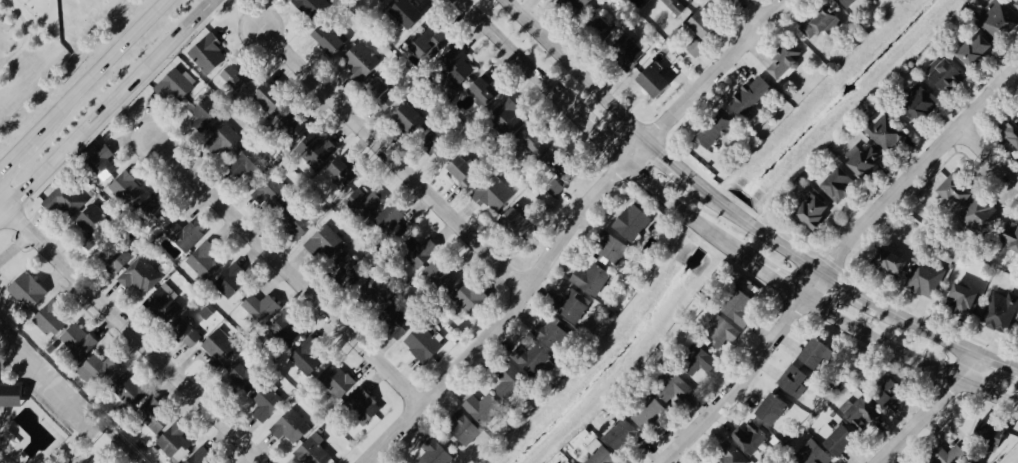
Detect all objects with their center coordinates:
building: (848, 3)
building: (574, 4)
building: (1016, 4)
building: (677, 6)
building: (313, 7)
building: (407, 12)
road: (749, 13)
building: (998, 19)
building: (702, 23)
building: (597, 24)
building: (820, 24)
building: (328, 37)
building: (431, 42)
building: (696, 47)
building: (976, 48)
building: (629, 50)
building: (208, 51)
road: (518, 58)
building: (360, 60)
building: (785, 61)
building: (456, 67)
road: (576, 69)
road: (718, 69)
building: (945, 72)
building: (236, 76)
building: (653, 79)
road: (83, 84)
building: (175, 84)
building: (484, 90)
building: (380, 91)
building: (751, 94)
building: (268, 96)
building: (921, 101)
road: (105, 107)
building: (204, 112)
building: (410, 116)
building: (508, 117)
building: (294, 124)
building: (714, 129)
building: (884, 129)
building: (1012, 133)
building: (224, 140)
road: (600, 140)
building: (538, 141)
building: (435, 143)
building: (317, 148)
road: (635, 151)
building: (864, 158)
road: (988, 158)
building: (246, 160)
building: (103, 161)
road: (672, 161)
road: (389, 162)
building: (563, 165)
building: (345, 169)
building: (463, 169)
road: (918, 170)
building: (339, 183)
building: (839, 183)
building: (556, 187)
building: (128, 188)
building: (271, 189)
building: (956, 189)
building: (494, 193)
building: (65, 199)
building: (365, 202)
building: (156, 209)
building: (814, 210)
road: (684, 213)
building: (980, 213)
building: (92, 219)
building: (297, 220)
building: (517, 220)
building: (390, 221)
building: (632, 221)
road: (760, 230)
building: (184, 234)
building: (1009, 237)
building: (324, 241)
building: (610, 248)
building: (419, 251)
building: (117, 258)
building: (203, 259)
building: (886, 259)
building: (347, 267)
building: (440, 272)
road: (284, 274)
building: (141, 275)
building: (925, 277)
building: (591, 278)
building: (231, 279)
road: (776, 281)
road: (814, 288)
road: (852, 288)
building: (27, 290)
building: (469, 295)
building: (964, 298)
building: (164, 300)
building: (573, 305)
building: (262, 307)
building: (738, 307)
building: (1000, 310)
building: (50, 317)
road: (500, 319)
building: (397, 320)
building: (287, 329)
road: (932, 329)
building: (721, 330)
building: (185, 331)
road: (129, 333)
building: (551, 333)
building: (78, 340)
building: (423, 343)
building: (220, 345)
building: (815, 351)
building: (307, 355)
building: (532, 357)
road: (910, 357)
building: (700, 361)
road: (1001, 363)
building: (97, 368)
road: (34, 373)
building: (241, 376)
building: (794, 379)
building: (337, 380)
building: (508, 380)
building: (673, 386)
road: (739, 386)
building: (129, 388)
building: (889, 391)
building: (11, 394)
building: (265, 402)
building: (362, 405)
building: (482, 407)
building: (773, 408)
road: (933, 409)
building: (859, 411)
park: (49, 413)
building: (649, 413)
building: (154, 414)
building: (291, 426)
building: (464, 427)
building: (991, 432)
building: (621, 434)
building: (750, 437)
building: (841, 439)
building: (174, 442)
building: (314, 450)
building: (434, 452)
building: (812, 453)
building: (731, 454)
building: (950, 454)
building: (201, 456)
building: (603, 456)
building: (568, 462)

